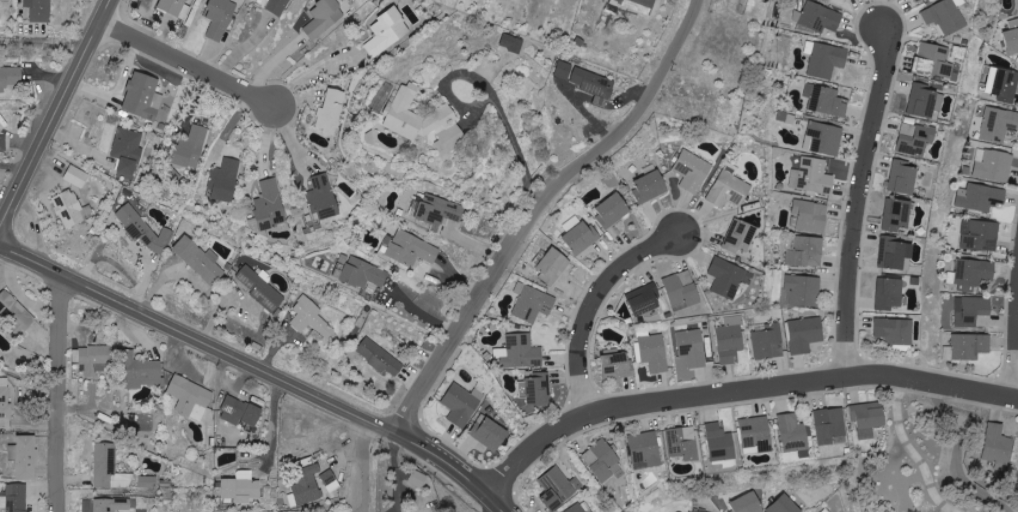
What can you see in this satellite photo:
building: (916, 0)
building: (640, 4)
building: (279, 6)
building: (175, 7)
building: (39, 9)
building: (944, 16)
building: (821, 17)
building: (220, 18)
building: (324, 18)
building: (386, 32)
road: (42, 41)
building: (512, 43)
road: (330, 58)
building: (931, 58)
building: (827, 60)
road: (185, 65)
building: (563, 70)
building: (10, 77)
building: (1000, 83)
building: (593, 84)
building: (143, 96)
building: (827, 100)
building: (923, 101)
building: (331, 111)
road: (54, 114)
building: (415, 115)
building: (999, 124)
building: (825, 138)
building: (451, 139)
building: (916, 139)
building: (3, 142)
building: (192, 147)
building: (127, 150)
road: (521, 155)
building: (993, 165)
building: (693, 171)
building: (77, 176)
building: (812, 176)
building: (904, 177)
building: (224, 180)
building: (651, 187)
building: (729, 190)
building: (323, 196)
building: (980, 197)
road: (860, 203)
building: (269, 205)
building: (70, 208)
building: (437, 209)
building: (613, 210)
building: (897, 214)
road: (540, 215)
building: (811, 216)
building: (143, 228)
building: (580, 235)
building: (741, 235)
building: (980, 235)
building: (411, 249)
building: (805, 251)
building: (895, 253)
building: (200, 260)
building: (553, 265)
building: (360, 272)
building: (973, 273)
building: (727, 277)
building: (260, 288)
building: (682, 290)
building: (802, 291)
building: (889, 293)
building: (645, 299)
building: (532, 302)
road: (595, 307)
building: (974, 311)
road: (423, 312)
building: (15, 313)
building: (310, 318)
building: (893, 330)
building: (805, 334)
building: (768, 342)
building: (730, 343)
building: (970, 346)
building: (693, 348)
building: (520, 352)
building: (653, 352)
building: (378, 356)
building: (95, 359)
building: (618, 365)
road: (259, 369)
building: (147, 372)
building: (536, 388)
road: (739, 392)
road: (58, 393)
building: (190, 397)
building: (5, 399)
building: (460, 405)
building: (240, 411)
building: (869, 418)
road: (274, 425)
building: (830, 425)
building: (756, 433)
building: (793, 433)
building: (492, 434)
building: (682, 443)
building: (720, 443)
building: (999, 448)
building: (645, 449)
road: (912, 450)
building: (26, 457)
road: (957, 457)
building: (603, 460)
road: (366, 465)
building: (109, 468)
road: (396, 472)
building: (418, 479)
building: (330, 480)
building: (148, 482)
building: (241, 487)
building: (557, 488)
building: (306, 492)
building: (15, 498)
building: (750, 503)
road: (489, 504)
building: (107, 505)
building: (786, 505)
building: (577, 509)
building: (826, 510)
road: (365, 511)
building: (691, 511)

